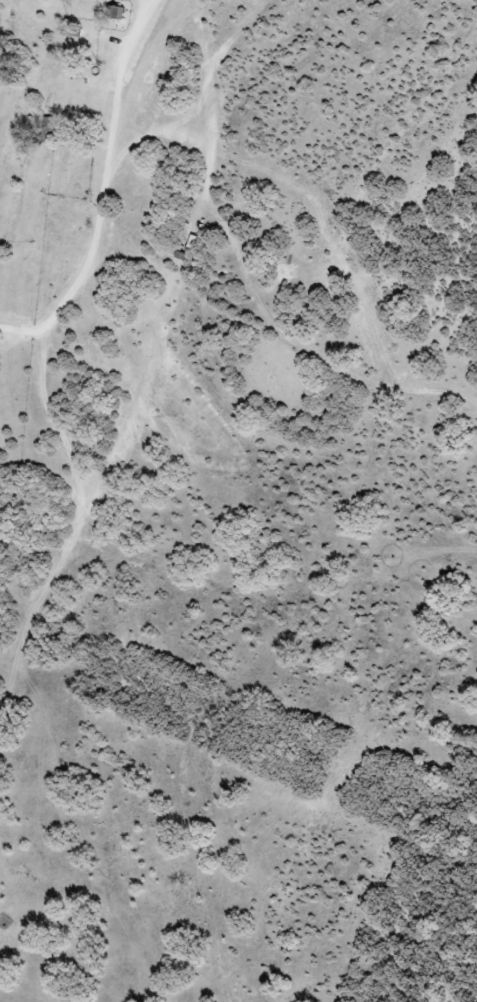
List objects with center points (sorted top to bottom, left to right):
road: (102, 195)

